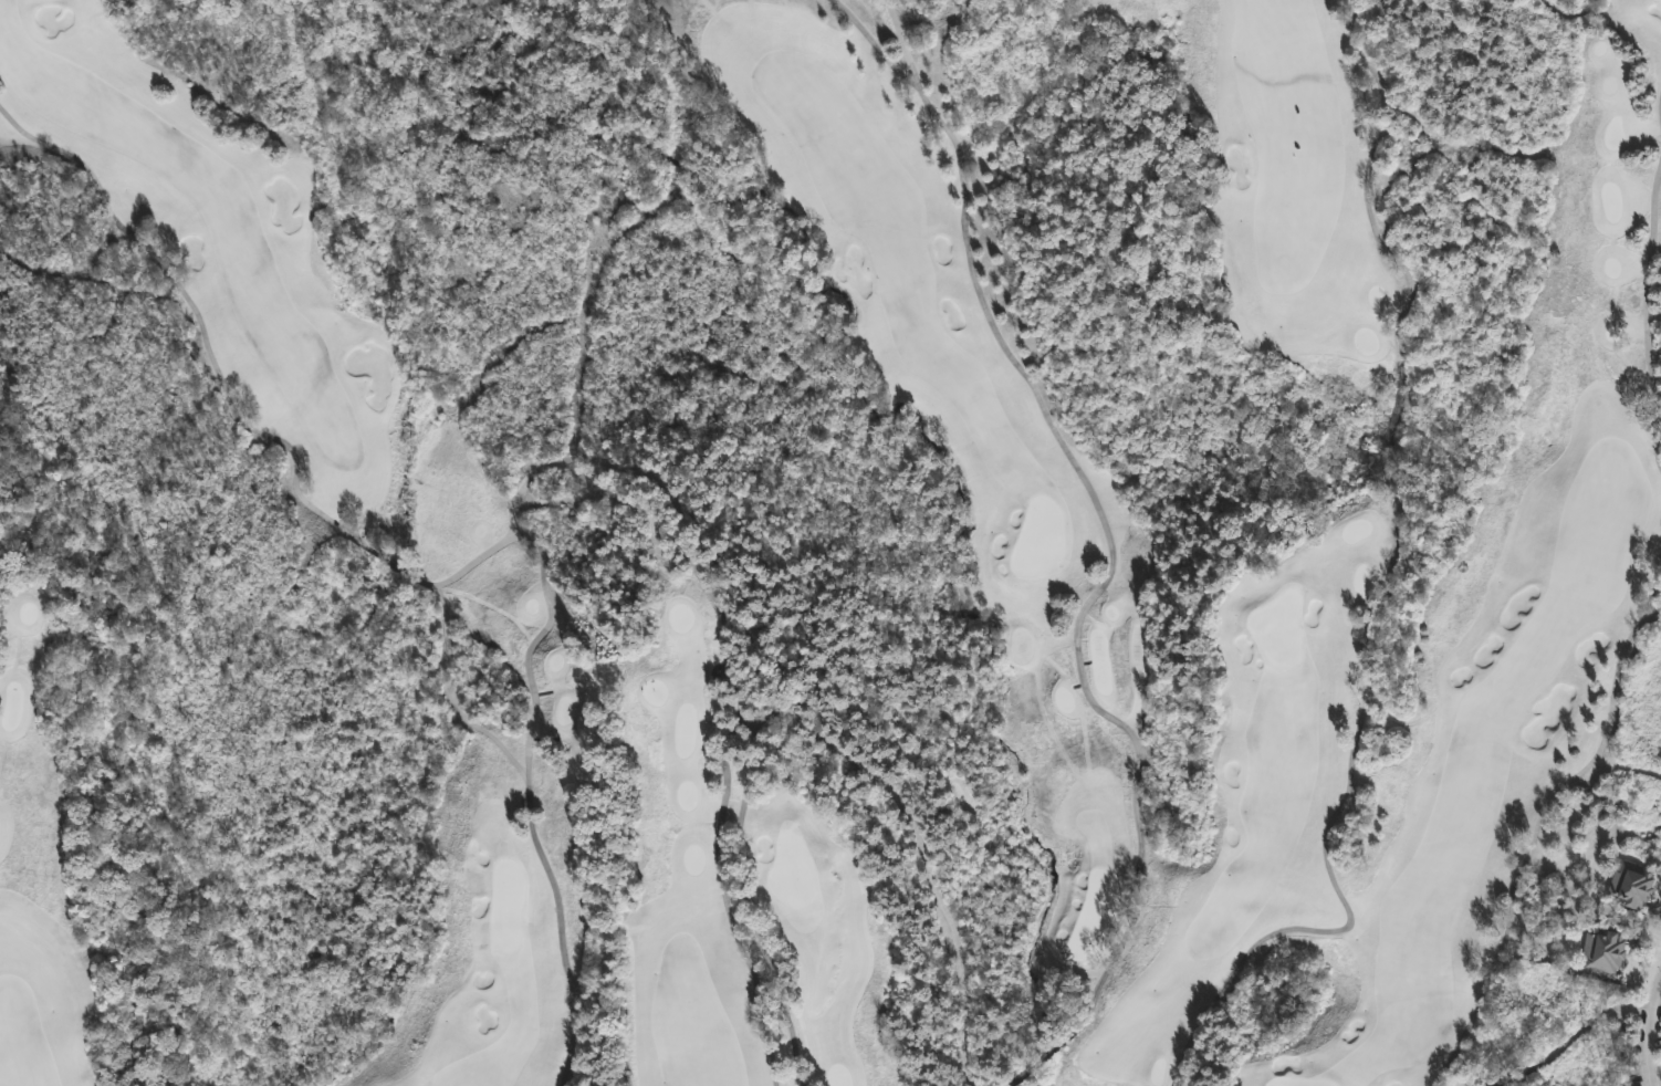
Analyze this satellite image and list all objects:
road: (1660, 107)
road: (1647, 312)
road: (236, 404)
road: (593, 461)
park: (830, 543)
road: (1111, 552)
road: (1388, 593)
park: (1278, 629)
road: (724, 673)
road: (1543, 816)
road: (918, 844)
park: (793, 871)
building: (1634, 885)
road: (724, 900)
park: (508, 906)
park: (1094, 912)
building: (1607, 951)
road: (1576, 1037)
road: (1649, 1038)
park: (1299, 1083)

